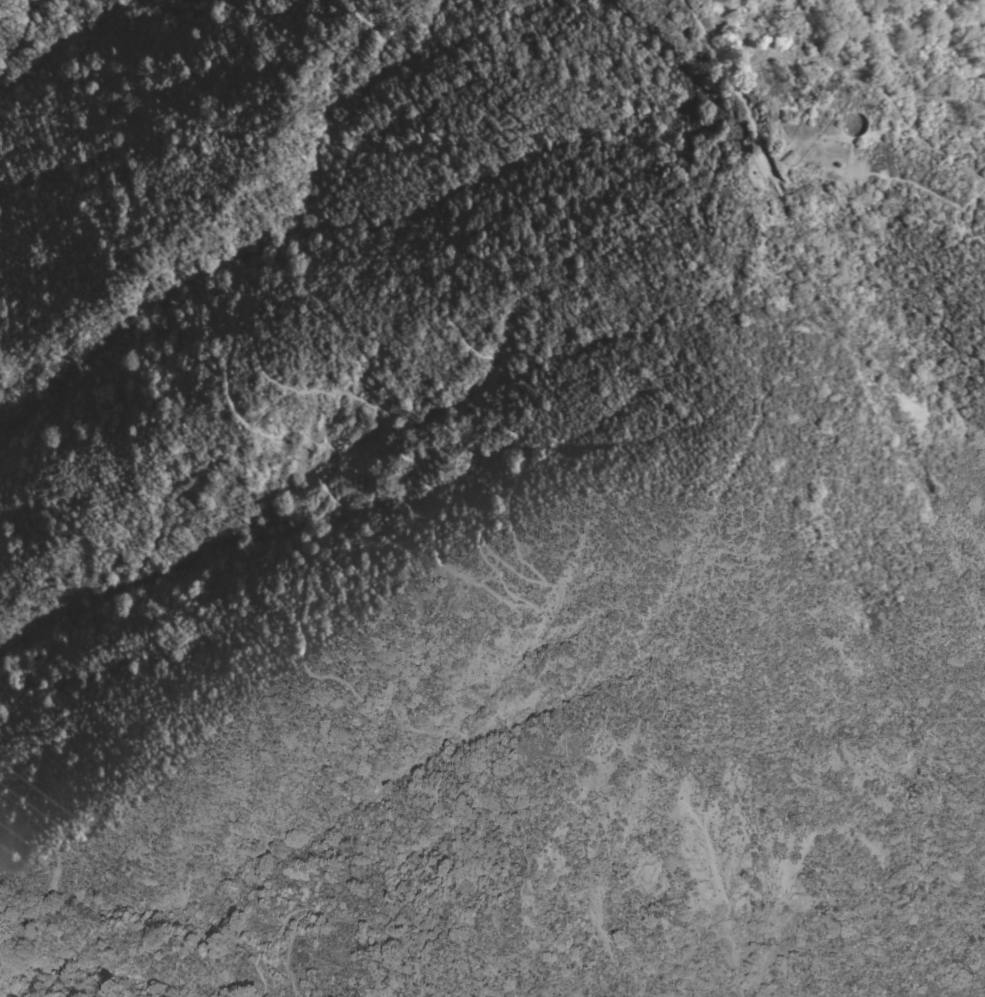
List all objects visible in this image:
road: (726, 81)
road: (963, 165)
railway: (760, 175)
road: (977, 210)
road: (402, 442)
power tower: (92, 904)
road: (291, 920)

